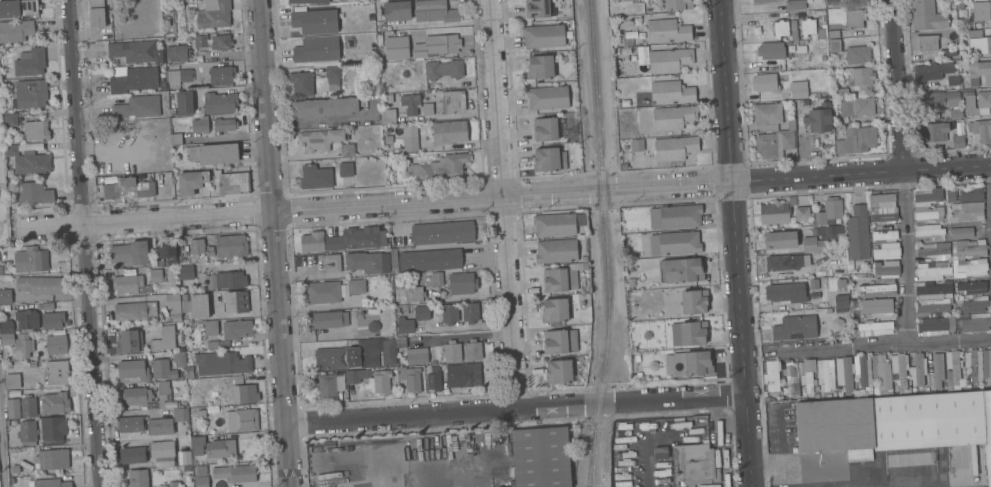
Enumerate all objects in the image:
building: (622, 0)
building: (765, 0)
building: (310, 1)
building: (832, 2)
building: (678, 4)
building: (795, 4)
building: (537, 8)
building: (19, 9)
building: (397, 10)
building: (981, 10)
building: (434, 11)
building: (97, 13)
building: (214, 14)
building: (927, 15)
building: (166, 16)
building: (856, 18)
building: (314, 21)
building: (171, 27)
building: (808, 27)
building: (781, 28)
building: (794, 29)
building: (16, 31)
building: (668, 31)
building: (426, 33)
building: (975, 33)
building: (834, 34)
building: (544, 36)
building: (201, 40)
building: (221, 41)
building: (629, 42)
building: (927, 42)
building: (447, 44)
building: (834, 45)
building: (980, 45)
building: (396, 47)
building: (316, 50)
building: (423, 50)
building: (626, 50)
building: (137, 51)
building: (771, 51)
building: (950, 52)
building: (177, 53)
building: (858, 54)
building: (670, 60)
building: (31, 62)
building: (114, 62)
building: (540, 66)
building: (444, 69)
building: (980, 70)
building: (931, 71)
building: (184, 75)
building: (222, 75)
building: (859, 76)
building: (133, 79)
building: (333, 79)
building: (953, 81)
building: (765, 82)
building: (302, 83)
building: (966, 84)
building: (163, 85)
road: (896, 86)
building: (799, 89)
building: (671, 92)
building: (842, 92)
building: (31, 93)
building: (548, 97)
building: (388, 98)
building: (939, 99)
building: (984, 99)
building: (453, 101)
building: (185, 103)
building: (220, 103)
building: (411, 103)
building: (800, 105)
building: (857, 106)
building: (138, 107)
building: (326, 107)
building: (428, 108)
building: (956, 113)
building: (389, 116)
building: (674, 117)
building: (11, 119)
building: (818, 120)
building: (838, 122)
building: (200, 125)
building: (225, 125)
building: (548, 129)
building: (36, 130)
building: (981, 130)
building: (784, 131)
building: (450, 132)
building: (933, 132)
building: (410, 137)
building: (177, 139)
building: (320, 139)
building: (388, 139)
building: (857, 140)
building: (958, 141)
building: (636, 144)
building: (675, 148)
building: (347, 150)
building: (214, 153)
building: (548, 159)
building: (28, 160)
building: (439, 167)
building: (346, 169)
road: (989, 174)
building: (316, 176)
building: (191, 182)
building: (233, 182)
road: (900, 183)
building: (128, 188)
building: (34, 193)
building: (928, 194)
building: (970, 194)
road: (504, 196)
building: (950, 196)
building: (883, 200)
road: (504, 204)
building: (829, 211)
building: (967, 211)
building: (774, 213)
building: (802, 213)
building: (926, 215)
building: (675, 216)
building: (883, 216)
building: (558, 224)
railway: (607, 230)
building: (929, 230)
building: (443, 232)
building: (828, 232)
building: (961, 232)
building: (857, 233)
building: (885, 234)
building: (342, 240)
building: (780, 240)
building: (675, 242)
road: (86, 243)
road: (275, 243)
road: (739, 243)
building: (813, 244)
building: (197, 246)
building: (231, 246)
building: (210, 247)
building: (969, 247)
building: (887, 250)
building: (556, 251)
building: (936, 251)
building: (143, 254)
building: (626, 256)
building: (394, 257)
building: (31, 260)
building: (430, 260)
building: (333, 262)
building: (368, 262)
building: (786, 262)
building: (851, 267)
building: (969, 267)
building: (887, 268)
building: (1, 270)
building: (682, 270)
building: (932, 271)
building: (187, 272)
building: (158, 275)
building: (226, 280)
building: (559, 280)
building: (631, 281)
building: (948, 282)
building: (462, 283)
building: (131, 284)
building: (41, 285)
building: (356, 286)
building: (879, 287)
building: (972, 287)
building: (814, 288)
building: (413, 289)
building: (931, 290)
building: (323, 292)
building: (780, 292)
building: (6, 296)
building: (841, 300)
building: (694, 301)
building: (236, 302)
building: (975, 304)
building: (200, 305)
building: (934, 305)
building: (877, 306)
building: (48, 307)
building: (174, 307)
building: (555, 310)
building: (828, 310)
building: (135, 311)
building: (373, 311)
building: (422, 313)
building: (460, 313)
building: (27, 319)
building: (329, 319)
building: (53, 320)
building: (976, 323)
building: (838, 324)
building: (405, 325)
building: (7, 326)
building: (875, 327)
building: (933, 327)
building: (211, 328)
building: (800, 328)
building: (237, 329)
building: (861, 333)
building: (689, 334)
road: (468, 337)
road: (903, 338)
building: (8, 339)
building: (167, 339)
road: (946, 340)
building: (130, 341)
building: (560, 341)
building: (401, 342)
building: (218, 344)
building: (57, 345)
building: (24, 346)
building: (473, 350)
building: (452, 351)
building: (358, 355)
building: (418, 356)
building: (638, 358)
building: (179, 359)
building: (223, 363)
building: (33, 364)
building: (689, 364)
building: (986, 364)
building: (974, 365)
building: (134, 369)
building: (163, 370)
building: (909, 370)
building: (953, 371)
building: (560, 372)
building: (937, 372)
building: (58, 373)
building: (854, 373)
building: (190, 374)
building: (826, 374)
building: (882, 374)
building: (464, 375)
building: (357, 376)
building: (639, 376)
building: (808, 376)
building: (434, 378)
building: (772, 378)
building: (411, 379)
building: (792, 380)
building: (13, 381)
building: (382, 382)
building: (330, 385)
building: (164, 388)
building: (214, 393)
building: (245, 394)
building: (143, 397)
building: (56, 403)
building: (29, 407)
building: (13, 408)
road: (517, 410)
building: (202, 414)
building: (181, 415)
building: (242, 420)
building: (132, 424)
building: (895, 424)
building: (161, 426)
building: (54, 430)
building: (28, 432)
building: (198, 445)
building: (221, 448)
building: (163, 449)
building: (661, 453)
building: (134, 455)
building: (185, 457)
building: (542, 457)
road: (1, 459)
building: (52, 459)
building: (695, 462)
building: (187, 468)
building: (201, 470)
building: (236, 473)
railway: (589, 473)
railway: (591, 473)
building: (139, 478)
building: (202, 481)
building: (51, 483)
building: (175, 484)

